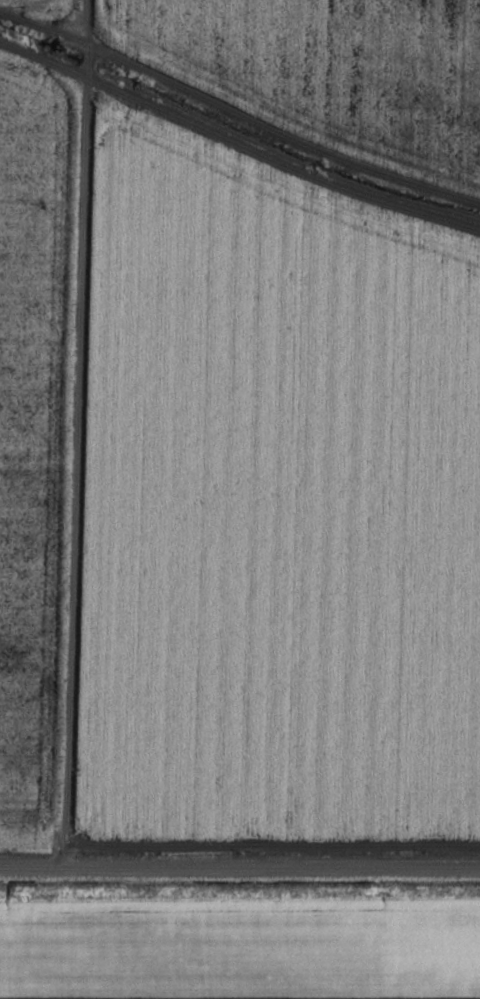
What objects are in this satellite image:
road: (239, 869)

